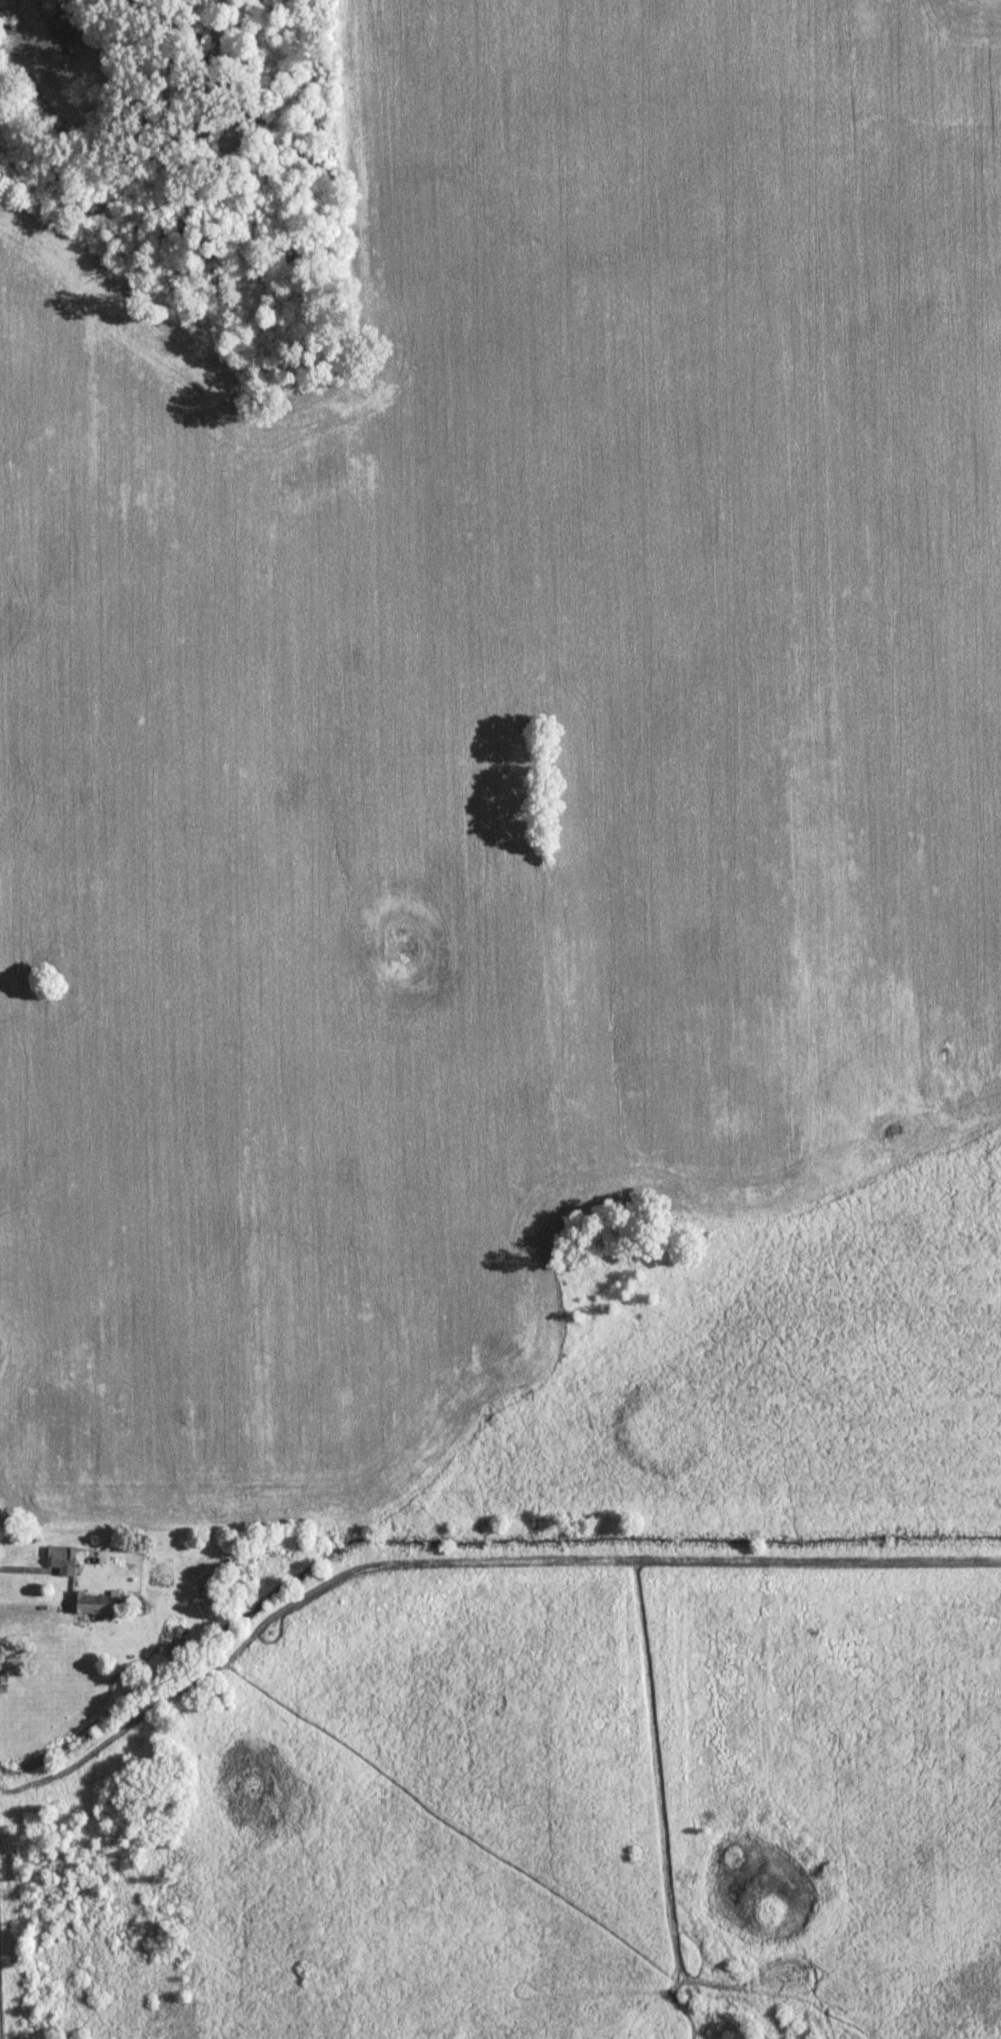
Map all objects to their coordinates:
building: (61, 1561)
building: (93, 1605)

